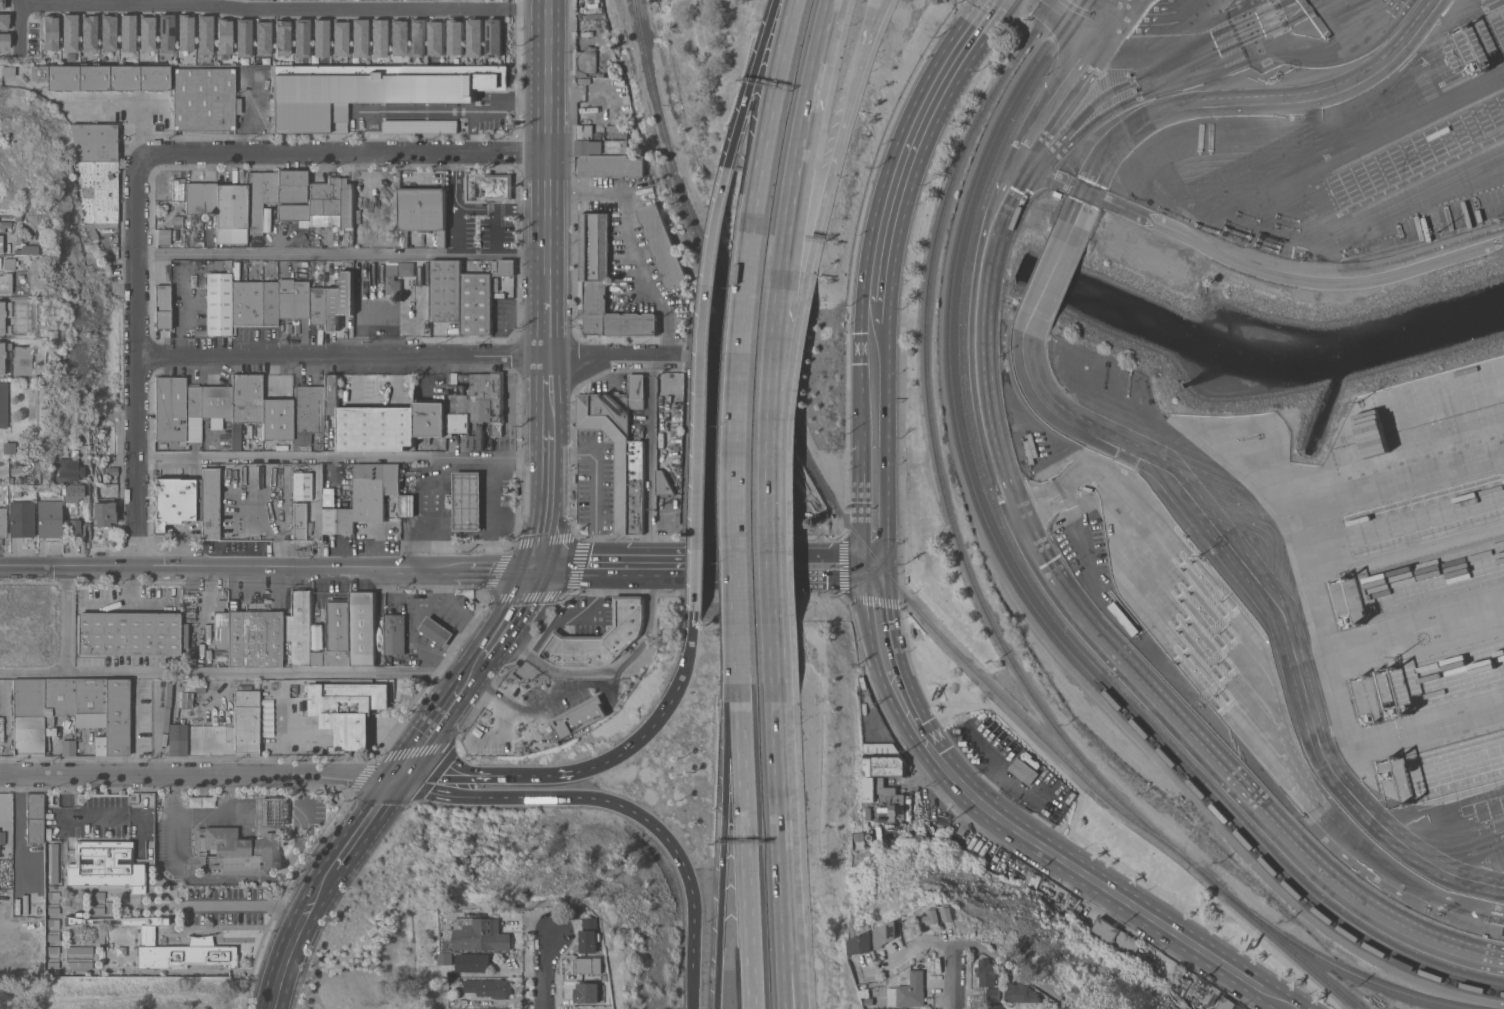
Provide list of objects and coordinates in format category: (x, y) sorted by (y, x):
road: (120, 3)
building: (2, 4)
road: (233, 4)
road: (343, 4)
road: (456, 4)
road: (1026, 8)
road: (283, 9)
road: (1115, 11)
road: (1084, 12)
road: (1149, 14)
road: (872, 17)
building: (4, 21)
road: (19, 22)
building: (50, 32)
building: (70, 33)
building: (108, 33)
building: (127, 33)
building: (146, 33)
building: (185, 33)
building: (89, 34)
building: (166, 34)
building: (204, 34)
road: (1177, 34)
building: (224, 36)
building: (300, 37)
building: (378, 37)
building: (397, 37)
building: (417, 37)
building: (455, 37)
building: (243, 38)
building: (282, 38)
building: (320, 38)
building: (339, 38)
building: (358, 38)
building: (436, 38)
building: (474, 38)
building: (494, 38)
building: (263, 39)
building: (5, 40)
building: (590, 63)
building: (8, 70)
road: (1165, 70)
road: (940, 75)
building: (102, 78)
road: (749, 83)
building: (369, 90)
road: (1062, 92)
building: (204, 99)
road: (1233, 101)
road: (98, 102)
road: (1405, 111)
road: (441, 113)
road: (243, 114)
road: (771, 115)
road: (808, 117)
building: (421, 126)
road: (837, 128)
road: (133, 132)
road: (473, 133)
building: (95, 142)
building: (602, 142)
road: (347, 155)
building: (611, 167)
road: (549, 176)
road: (453, 179)
building: (293, 186)
building: (487, 187)
building: (178, 189)
building: (99, 191)
building: (388, 197)
building: (202, 198)
building: (260, 201)
building: (361, 201)
building: (325, 202)
building: (232, 205)
building: (347, 205)
building: (422, 211)
building: (295, 213)
building: (16, 218)
road: (1354, 219)
building: (266, 220)
building: (5, 221)
building: (396, 221)
building: (178, 222)
building: (92, 228)
road: (455, 231)
building: (163, 236)
road: (878, 237)
road: (637, 241)
building: (0, 242)
building: (662, 246)
building: (25, 249)
road: (346, 256)
road: (852, 258)
building: (8, 263)
building: (404, 268)
road: (1254, 269)
building: (5, 283)
building: (604, 283)
building: (393, 285)
road: (1045, 285)
building: (447, 291)
building: (482, 297)
building: (293, 299)
building: (339, 301)
building: (255, 303)
building: (219, 304)
building: (317, 306)
building: (162, 307)
road: (792, 308)
road: (183, 312)
road: (779, 314)
building: (1, 321)
road: (902, 347)
building: (4, 353)
road: (612, 354)
road: (344, 355)
road: (141, 362)
road: (700, 388)
building: (332, 393)
building: (247, 398)
building: (3, 404)
building: (475, 405)
road: (549, 405)
building: (207, 407)
building: (309, 408)
building: (171, 409)
building: (431, 418)
building: (277, 419)
building: (376, 429)
road: (860, 436)
building: (235, 441)
road: (881, 443)
building: (8, 447)
building: (620, 448)
railway: (933, 449)
parking lot: (725, 450)
road: (649, 454)
road: (345, 458)
road: (550, 458)
road: (735, 458)
building: (69, 471)
building: (111, 471)
building: (393, 479)
railway: (819, 479)
road: (595, 482)
building: (302, 485)
building: (663, 485)
building: (363, 492)
building: (378, 492)
building: (16, 493)
building: (72, 493)
road: (549, 493)
building: (53, 494)
road: (1362, 494)
building: (466, 500)
building: (178, 501)
building: (210, 503)
building: (407, 505)
road: (433, 512)
building: (103, 513)
road: (491, 513)
building: (2, 518)
building: (21, 518)
building: (49, 518)
building: (299, 520)
building: (339, 520)
road: (520, 523)
building: (74, 528)
building: (86, 530)
road: (771, 538)
road: (545, 546)
road: (621, 555)
road: (666, 555)
road: (772, 556)
traffic signals: (860, 556)
road: (568, 560)
road: (871, 562)
road: (69, 566)
road: (340, 566)
traffic signals: (541, 566)
road: (860, 568)
road: (871, 574)
road: (619, 578)
road: (780, 579)
traffic signals: (861, 580)
road: (441, 581)
railway: (1029, 587)
railway: (1022, 594)
road: (1275, 603)
road: (419, 615)
road: (64, 618)
road: (565, 618)
building: (1123, 619)
traffic signals: (891, 621)
building: (221, 626)
building: (299, 627)
building: (365, 630)
building: (436, 631)
building: (129, 633)
building: (396, 634)
building: (337, 637)
building: (255, 638)
building: (598, 638)
road: (1104, 644)
road: (899, 653)
road: (688, 658)
road: (875, 664)
road: (613, 667)
road: (221, 671)
building: (635, 673)
road: (471, 674)
road: (140, 679)
road: (442, 684)
building: (59, 702)
building: (92, 709)
building: (348, 710)
road: (521, 710)
building: (28, 716)
building: (118, 717)
building: (173, 719)
building: (581, 720)
building: (246, 721)
road: (134, 731)
road: (210, 737)
building: (177, 740)
road: (1028, 741)
building: (68, 747)
road: (54, 748)
railway: (1168, 752)
building: (885, 760)
building: (1023, 771)
road: (779, 772)
road: (545, 774)
road: (197, 777)
traffic signals: (395, 778)
road: (595, 798)
building: (200, 801)
building: (4, 805)
building: (881, 806)
building: (273, 812)
building: (34, 818)
road: (84, 819)
building: (943, 820)
building: (920, 821)
building: (935, 834)
building: (2, 837)
road: (347, 844)
road: (721, 846)
road: (744, 847)
building: (236, 851)
building: (106, 866)
railway: (1208, 878)
road: (1097, 883)
road: (244, 904)
road: (1212, 905)
building: (948, 914)
building: (931, 918)
building: (903, 929)
building: (1503, 931)
building: (479, 934)
road: (782, 934)
road: (793, 934)
building: (886, 934)
building: (592, 936)
building: (1113, 936)
building: (863, 944)
road: (973, 944)
building: (168, 945)
building: (418, 945)
building: (78, 953)
park: (376, 954)
railway: (1299, 957)
building: (446, 959)
road: (283, 960)
building: (473, 962)
building: (78, 965)
building: (589, 965)
building: (1138, 965)
building: (425, 970)
road: (543, 970)
railway: (1346, 970)
building: (986, 972)
road: (953, 976)
road: (690, 981)
building: (455, 982)
building: (489, 987)
building: (908, 991)
park: (126, 993)
building: (587, 993)
building: (866, 993)
building: (993, 993)
building: (1022, 993)
building: (871, 1003)
building: (1225, 1003)
building: (996, 1007)
building: (503, 1008)

